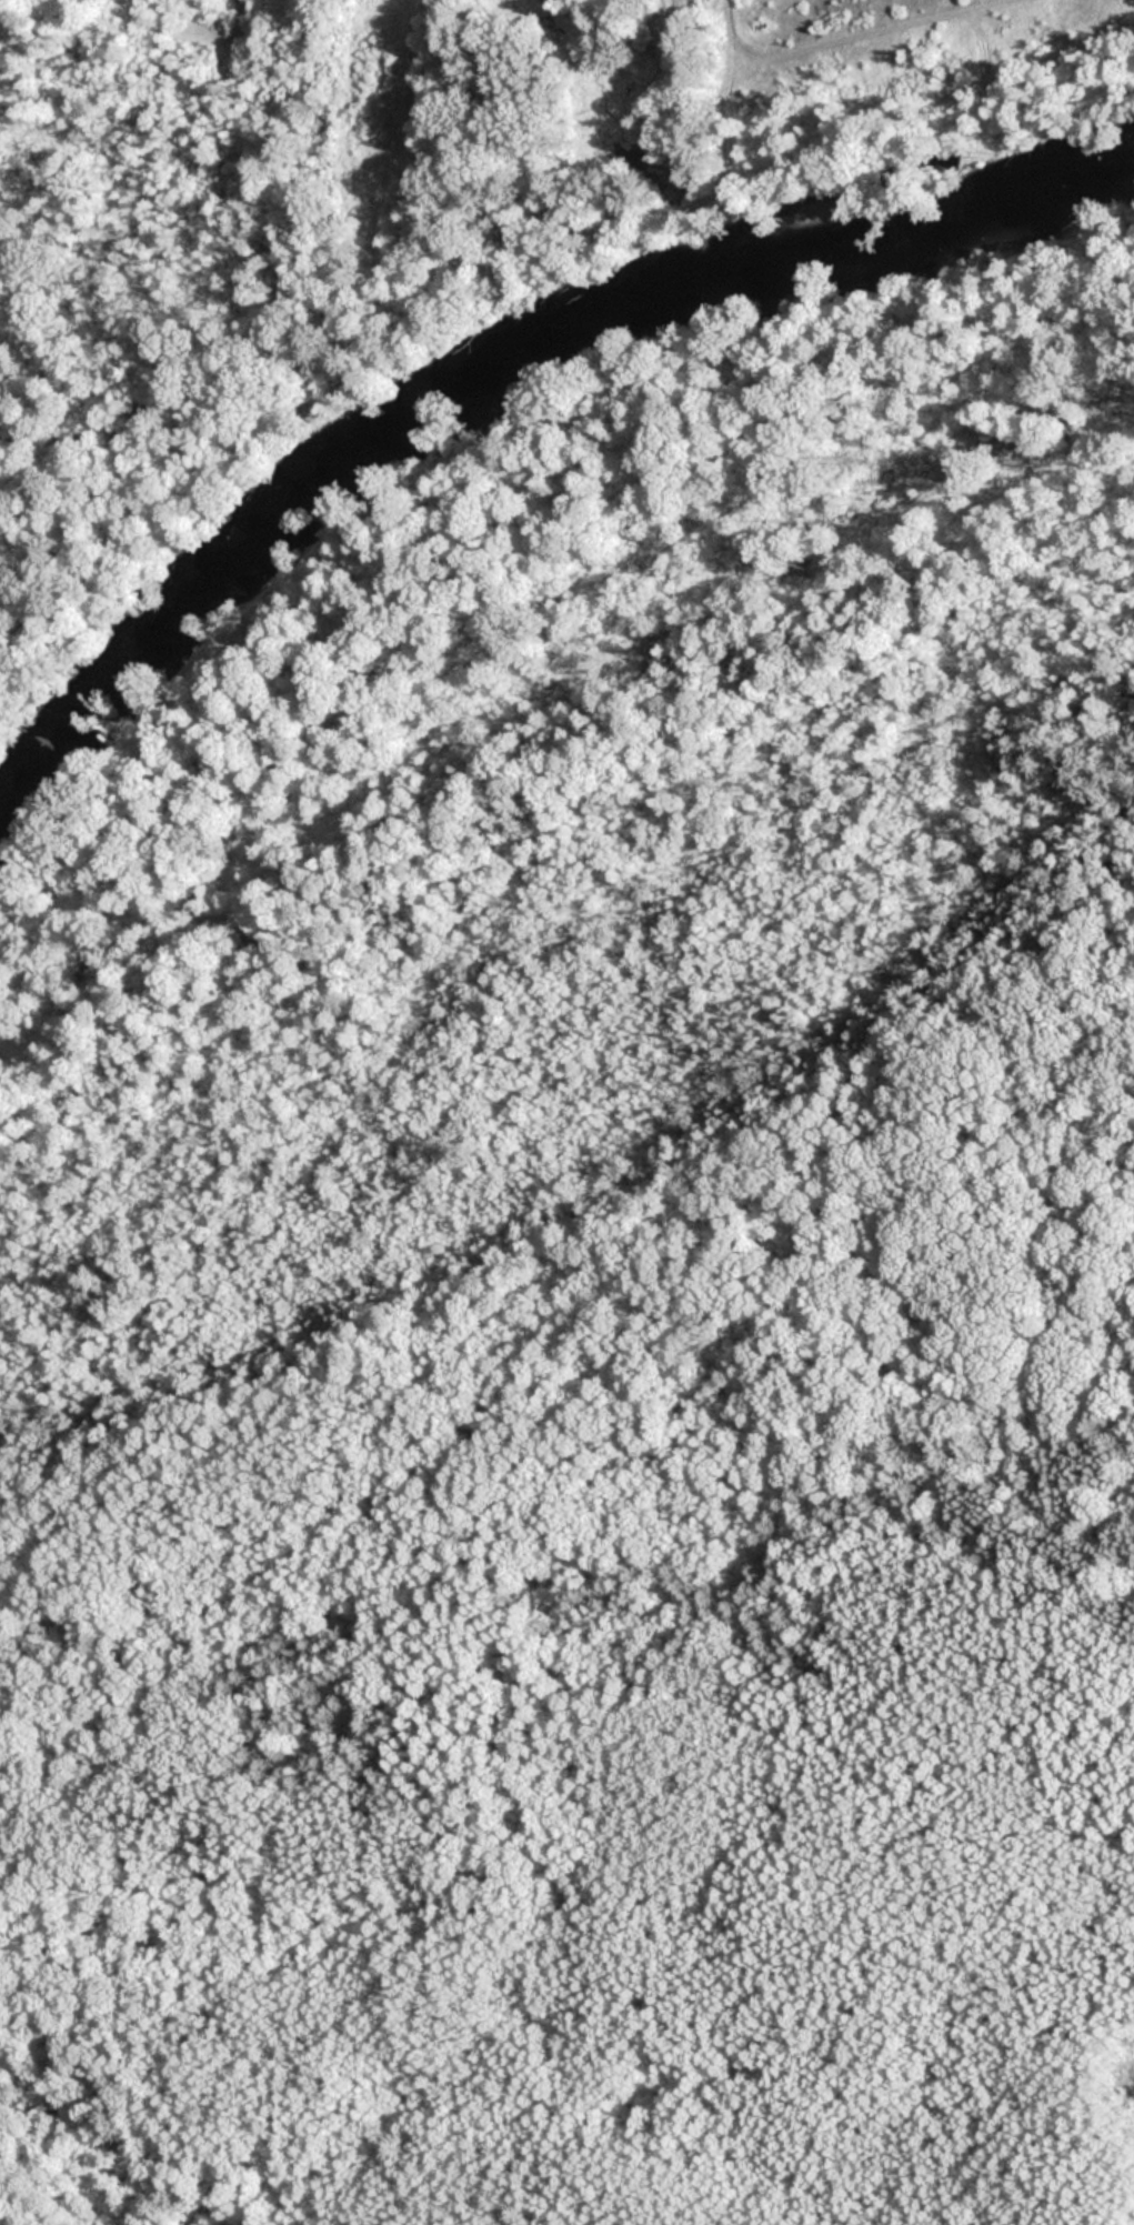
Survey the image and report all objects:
road: (729, 38)
park: (149, 252)
river: (472, 381)
park: (596, 1303)
road: (563, 1542)

